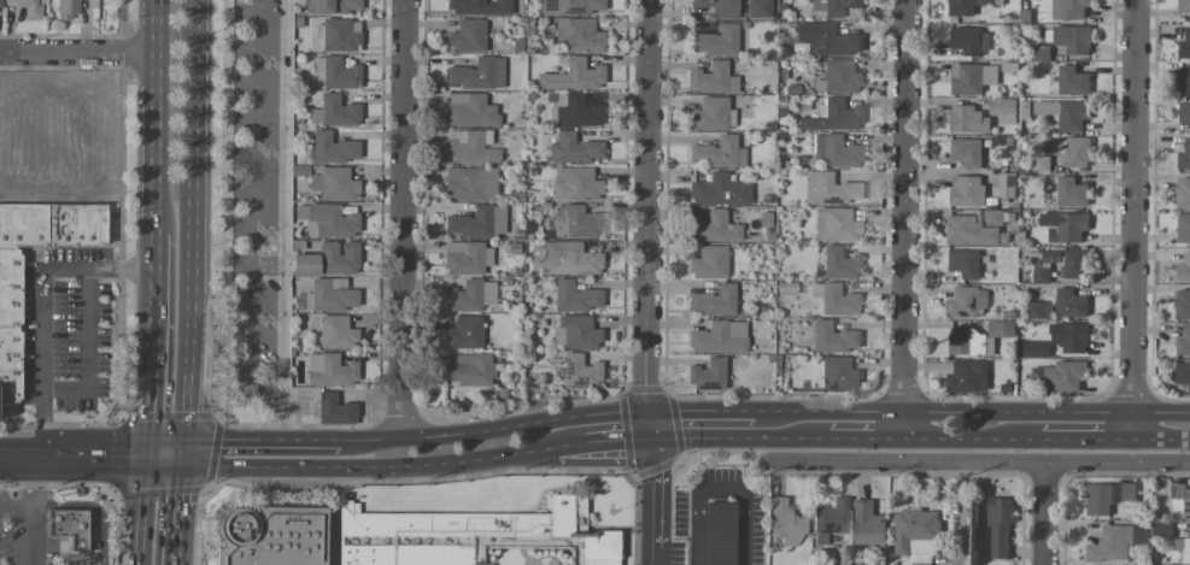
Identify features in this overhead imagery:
building: (1184, 5)
building: (332, 6)
building: (479, 6)
building: (571, 6)
building: (833, 6)
building: (965, 6)
building: (717, 7)
building: (28, 8)
building: (68, 8)
building: (757, 8)
building: (1068, 8)
building: (335, 35)
building: (579, 35)
building: (467, 36)
building: (1073, 39)
building: (826, 40)
building: (969, 40)
building: (716, 41)
building: (1184, 45)
road: (77, 52)
building: (1042, 53)
building: (335, 73)
building: (476, 73)
building: (573, 76)
building: (838, 77)
building: (713, 78)
building: (972, 78)
building: (1072, 81)
building: (1184, 81)
building: (469, 110)
building: (574, 110)
building: (1003, 110)
building: (333, 112)
building: (1184, 112)
building: (1065, 113)
building: (713, 114)
road: (156, 117)
building: (831, 117)
building: (967, 119)
building: (470, 147)
building: (333, 148)
building: (574, 149)
building: (1074, 151)
building: (834, 152)
building: (966, 152)
road: (195, 153)
building: (717, 153)
building: (1184, 157)
building: (1042, 163)
building: (334, 183)
building: (469, 183)
building: (575, 184)
building: (1007, 186)
building: (828, 189)
building: (719, 190)
building: (967, 192)
building: (1072, 192)
building: (1183, 193)
parking lot: (260, 196)
road: (645, 206)
road: (283, 211)
road: (248, 216)
building: (993, 217)
road: (904, 218)
road: (1133, 218)
building: (328, 219)
road: (403, 219)
building: (476, 222)
building: (575, 222)
building: (834, 225)
building: (1063, 225)
building: (715, 228)
building: (1183, 228)
building: (971, 230)
building: (1050, 255)
building: (465, 258)
building: (564, 258)
building: (328, 259)
building: (709, 263)
building: (965, 263)
building: (1074, 263)
road: (265, 264)
building: (839, 264)
building: (1184, 266)
building: (1042, 275)
building: (332, 295)
building: (469, 295)
building: (575, 296)
building: (713, 301)
building: (838, 301)
road: (41, 302)
building: (968, 302)
road: (158, 304)
building: (1071, 304)
building: (1182, 305)
building: (1039, 310)
building: (12, 326)
building: (1001, 328)
building: (575, 331)
building: (335, 332)
building: (464, 332)
building: (1069, 336)
building: (719, 337)
building: (833, 337)
building: (1184, 341)
building: (972, 342)
building: (1034, 348)
road: (88, 352)
building: (468, 369)
building: (329, 370)
building: (580, 371)
building: (1182, 372)
building: (837, 373)
building: (707, 375)
building: (1066, 375)
building: (967, 376)
road: (190, 381)
road: (272, 384)
building: (334, 410)
road: (971, 411)
road: (151, 413)
traffic signals: (647, 413)
road: (700, 413)
road: (649, 425)
road: (494, 428)
road: (280, 431)
road: (738, 436)
road: (866, 436)
traffic signals: (650, 437)
road: (972, 437)
road: (1086, 437)
road: (615, 439)
road: (1161, 439)
road: (260, 440)
road: (565, 445)
road: (31, 454)
road: (106, 454)
traffic signals: (150, 454)
road: (166, 454)
traffic signals: (183, 455)
road: (978, 461)
road: (365, 467)
road: (717, 488)
road: (180, 493)
road: (651, 494)
road: (28, 495)
building: (1107, 496)
building: (1179, 500)
road: (146, 508)
road: (1043, 513)
building: (830, 519)
building: (784, 523)
building: (868, 524)
building: (1000, 525)
building: (71, 528)
building: (1163, 528)
building: (719, 532)
parking lot: (719, 532)
building: (915, 534)
parking lot: (25, 535)
building: (456, 535)
building: (266, 536)
road: (27, 537)
building: (1115, 542)
building: (1183, 547)
road: (175, 548)
road: (647, 559)

